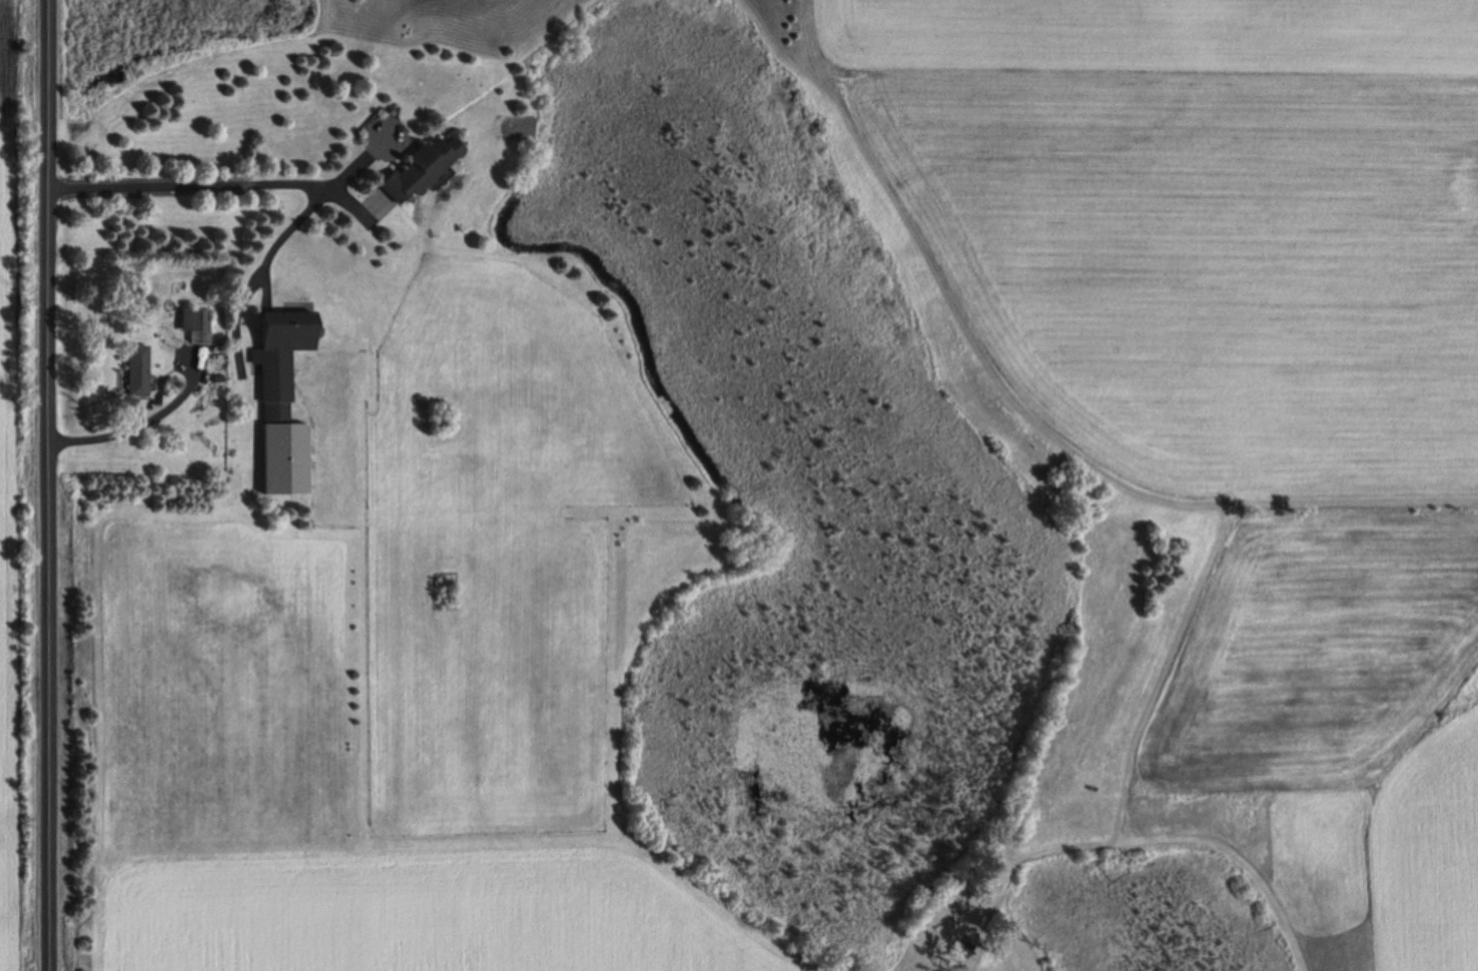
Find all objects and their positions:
building: (520, 128)
building: (419, 169)
building: (197, 326)
building: (136, 371)
building: (282, 404)
road: (46, 485)

